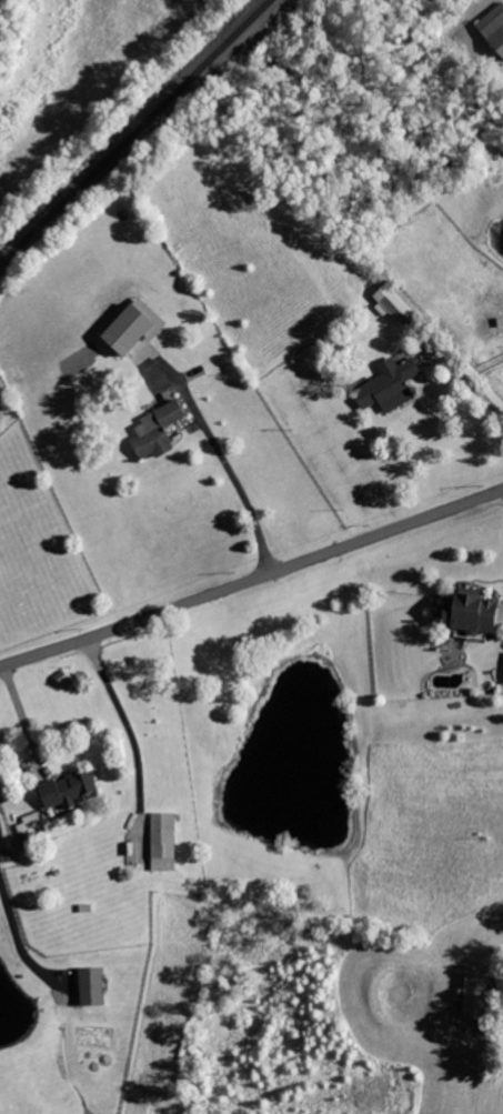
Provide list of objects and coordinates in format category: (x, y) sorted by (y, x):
building: (496, 30)
railway: (137, 132)
building: (394, 302)
building: (130, 327)
road: (467, 377)
building: (391, 384)
building: (159, 430)
road: (238, 481)
road: (252, 580)
building: (472, 611)
road: (123, 717)
building: (69, 789)
building: (164, 841)
building: (93, 985)
building: (476, 995)

